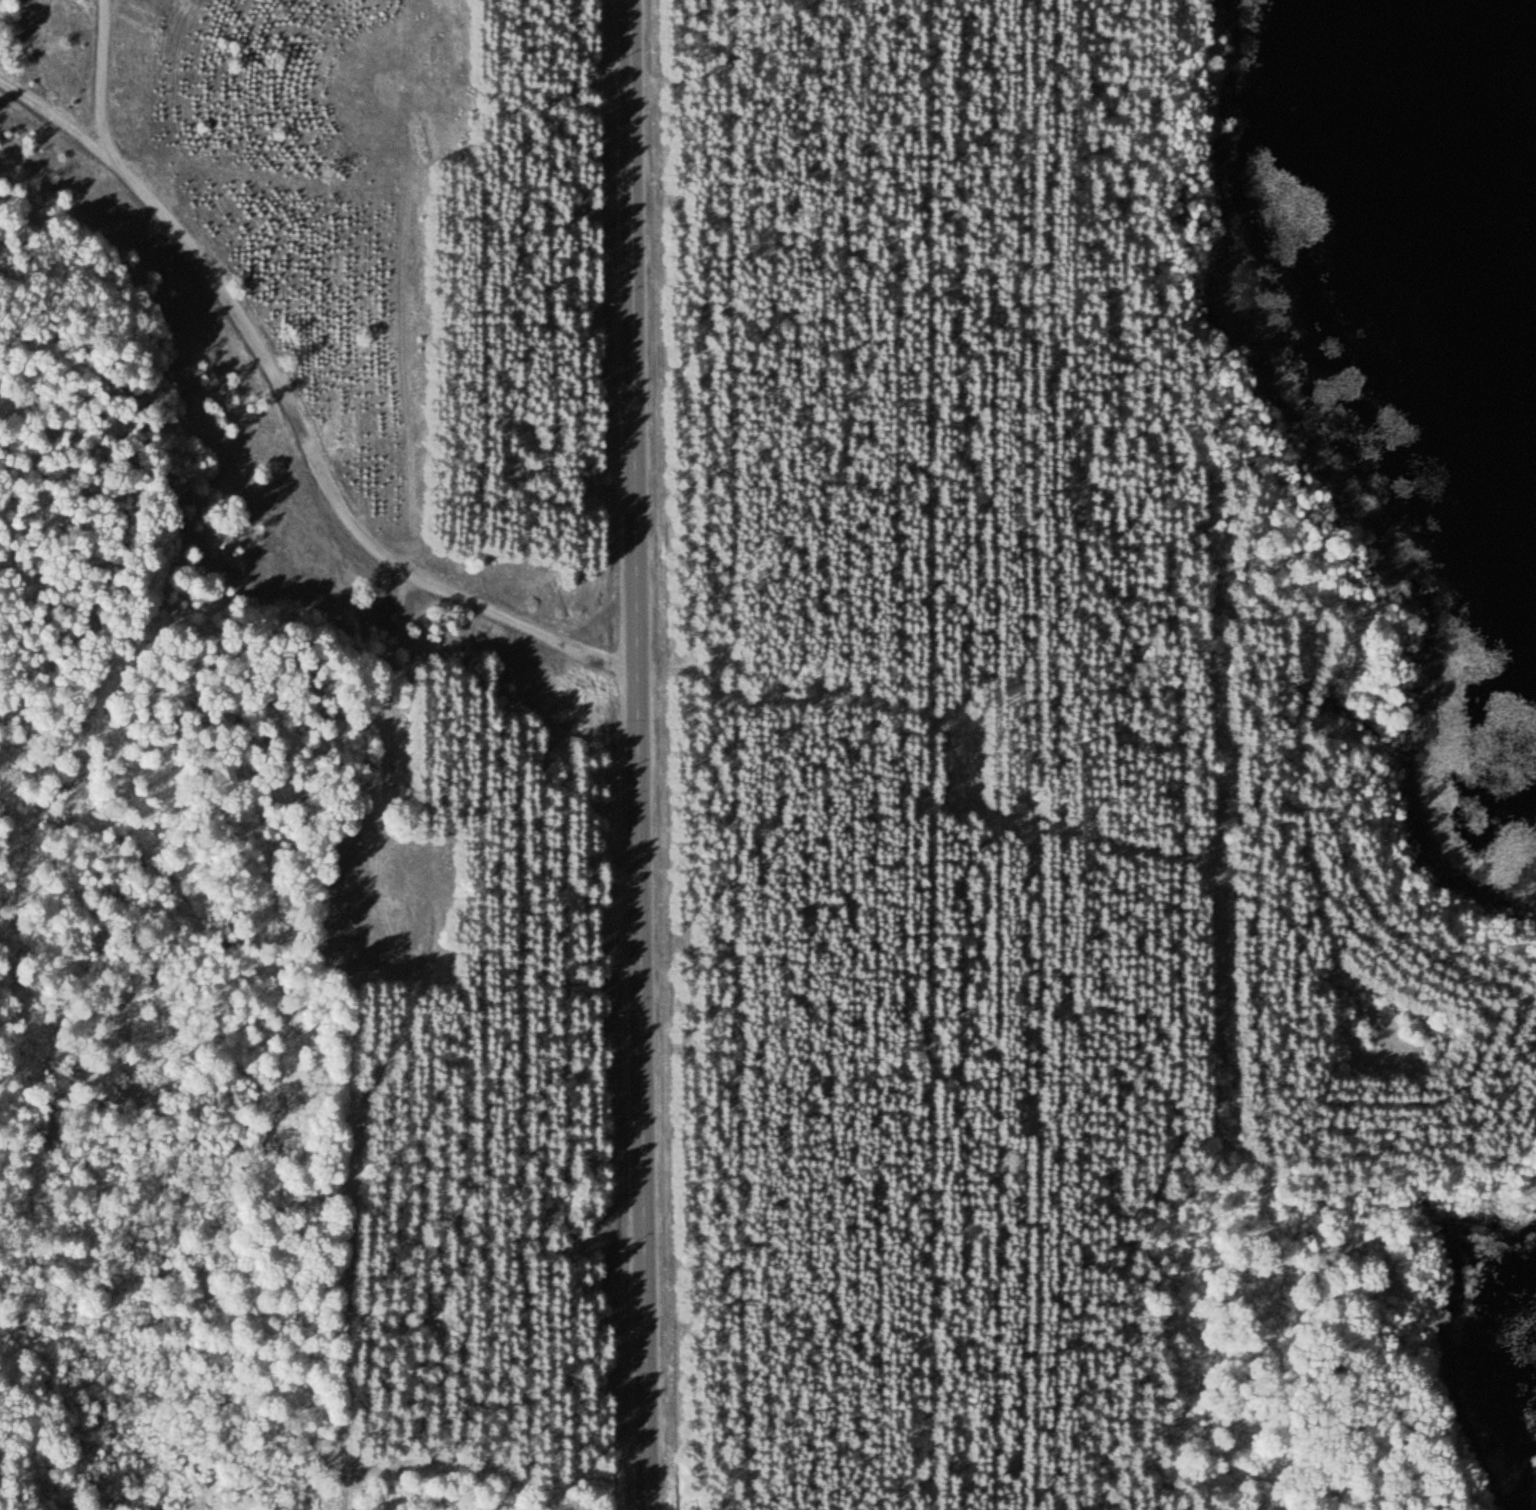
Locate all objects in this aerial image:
road: (299, 414)
road: (642, 754)
road: (381, 835)

